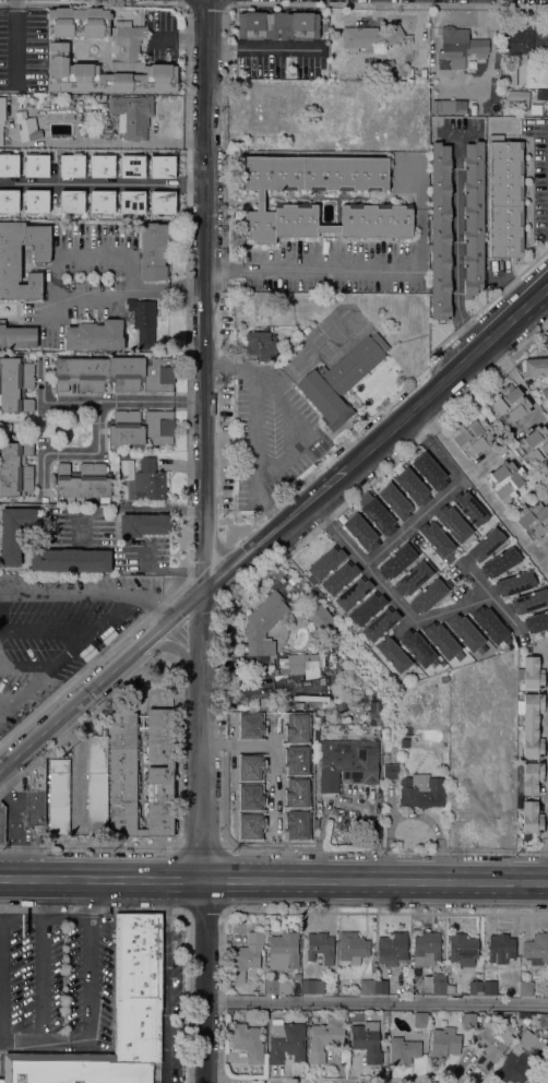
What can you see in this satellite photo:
building: (78, 22)
building: (277, 25)
building: (324, 26)
building: (369, 36)
building: (522, 41)
building: (460, 46)
building: (418, 57)
building: (111, 68)
building: (509, 74)
building: (99, 96)
building: (514, 99)
building: (449, 106)
building: (131, 115)
building: (2, 116)
building: (59, 116)
building: (109, 124)
building: (26, 127)
building: (8, 165)
building: (35, 165)
building: (70, 166)
building: (100, 166)
building: (131, 166)
building: (162, 166)
road: (98, 182)
building: (260, 197)
building: (505, 198)
building: (8, 200)
building: (35, 201)
building: (71, 201)
building: (100, 201)
building: (131, 201)
building: (162, 201)
building: (473, 218)
building: (440, 230)
building: (154, 250)
road: (456, 251)
building: (10, 259)
road: (307, 270)
road: (132, 272)
road: (72, 306)
building: (143, 322)
building: (95, 335)
building: (16, 336)
building: (261, 345)
building: (547, 346)
building: (534, 367)
building: (115, 373)
building: (339, 380)
road: (517, 381)
building: (15, 384)
building: (545, 394)
road: (98, 401)
building: (509, 405)
road: (253, 419)
building: (141, 427)
road: (286, 429)
building: (472, 437)
road: (195, 440)
building: (534, 445)
road: (76, 452)
building: (16, 469)
building: (429, 471)
building: (505, 480)
building: (83, 481)
building: (146, 483)
building: (412, 487)
road: (483, 488)
road: (444, 491)
building: (546, 491)
building: (547, 500)
building: (395, 501)
building: (469, 508)
road: (129, 510)
building: (378, 516)
building: (533, 520)
road: (273, 523)
building: (453, 523)
building: (142, 525)
building: (14, 532)
building: (360, 533)
building: (438, 540)
building: (486, 545)
building: (70, 560)
building: (397, 560)
building: (325, 562)
building: (500, 562)
building: (339, 578)
road: (475, 578)
building: (413, 579)
building: (514, 583)
building: (353, 593)
building: (428, 596)
building: (528, 602)
road: (127, 605)
building: (367, 608)
road: (398, 608)
building: (317, 621)
building: (536, 621)
building: (380, 623)
building: (263, 624)
building: (489, 624)
road: (47, 630)
parking lot: (58, 631)
road: (3, 632)
building: (465, 632)
building: (442, 642)
building: (417, 647)
building: (392, 653)
building: (303, 662)
building: (532, 673)
road: (46, 675)
building: (276, 676)
building: (357, 690)
building: (264, 702)
building: (297, 705)
building: (376, 716)
building: (532, 725)
building: (403, 742)
building: (509, 748)
building: (385, 758)
building: (352, 759)
building: (472, 764)
building: (390, 771)
building: (159, 772)
building: (532, 777)
building: (329, 781)
building: (96, 784)
building: (487, 790)
building: (420, 792)
building: (265, 794)
building: (58, 796)
building: (35, 797)
building: (531, 818)
building: (1, 823)
road: (547, 873)
road: (274, 880)
road: (64, 918)
building: (320, 947)
building: (352, 947)
building: (392, 948)
building: (500, 948)
building: (426, 949)
building: (462, 949)
building: (536, 949)
building: (283, 951)
building: (246, 955)
road: (43, 959)
road: (2, 979)
road: (166, 981)
road: (207, 981)
building: (438, 984)
building: (277, 986)
building: (312, 986)
building: (366, 986)
building: (380, 987)
building: (474, 987)
building: (489, 987)
building: (525, 988)
road: (378, 1001)
road: (86, 1002)
building: (498, 1013)
building: (301, 1014)
building: (114, 1019)
building: (384, 1019)
building: (420, 1020)
building: (468, 1020)
building: (544, 1021)
building: (324, 1037)
building: (526, 1039)
building: (286, 1040)
building: (367, 1040)
building: (248, 1042)
building: (444, 1042)
building: (492, 1045)
building: (403, 1050)
building: (514, 1066)
building: (539, 1082)

